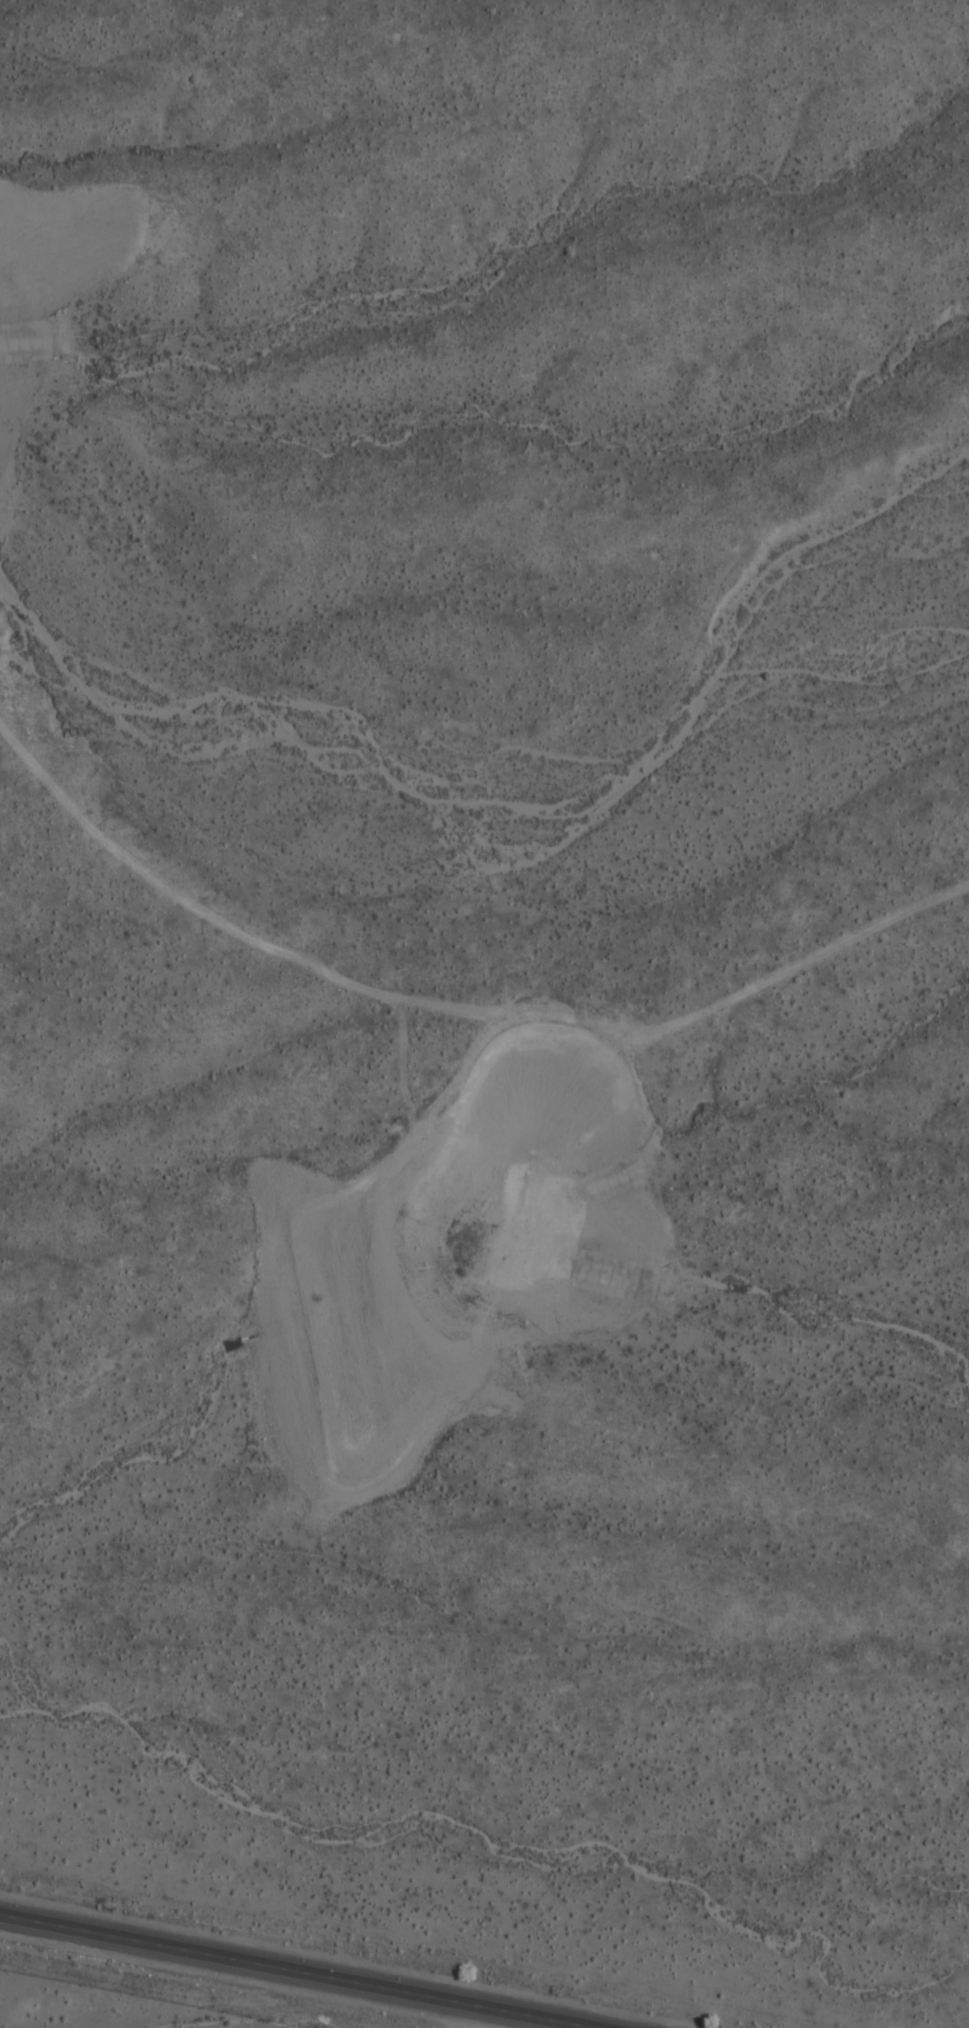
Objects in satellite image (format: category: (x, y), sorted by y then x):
road: (297, 1971)

